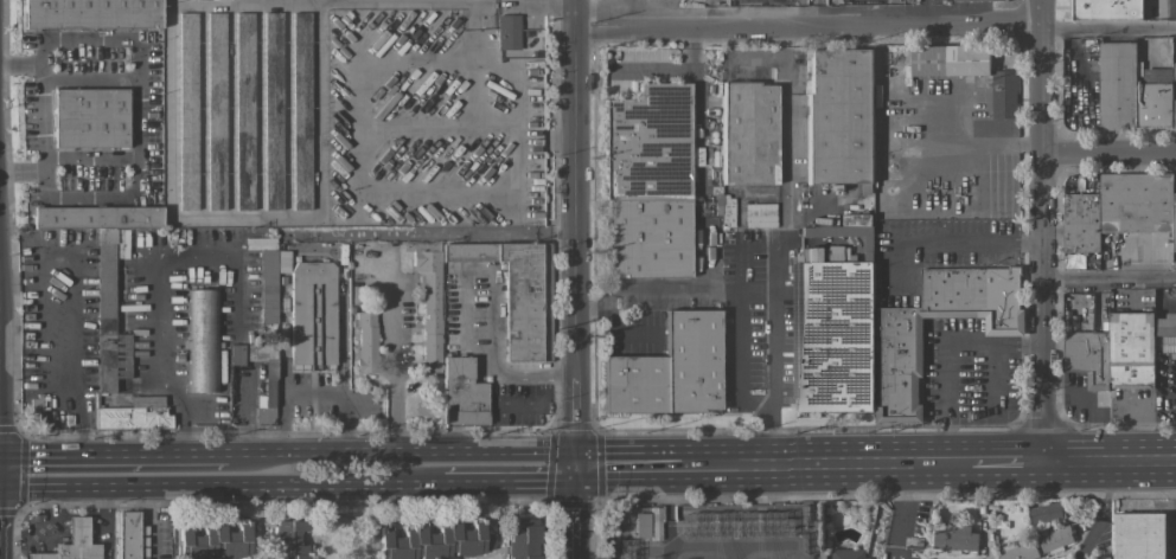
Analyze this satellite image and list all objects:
building: (978, 0)
road: (244, 1)
road: (314, 1)
road: (367, 1)
road: (281, 2)
building: (1105, 9)
building: (91, 14)
road: (807, 23)
road: (1108, 28)
road: (471, 30)
building: (507, 32)
road: (782, 40)
road: (758, 58)
building: (948, 60)
road: (32, 64)
road: (650, 71)
road: (138, 94)
building: (1130, 94)
building: (1003, 95)
road: (702, 103)
building: (300, 109)
building: (216, 110)
building: (273, 110)
building: (187, 111)
building: (244, 111)
building: (89, 117)
building: (839, 117)
building: (747, 133)
road: (983, 142)
road: (1108, 152)
road: (786, 155)
road: (30, 175)
building: (647, 181)
road: (400, 192)
building: (1119, 210)
building: (760, 214)
building: (96, 217)
road: (205, 217)
road: (432, 232)
road: (1041, 232)
road: (575, 233)
road: (983, 240)
road: (755, 249)
road: (1108, 279)
road: (159, 281)
building: (267, 285)
road: (654, 289)
building: (518, 294)
building: (429, 301)
building: (312, 311)
building: (108, 317)
road: (77, 329)
building: (830, 335)
building: (202, 340)
building: (365, 341)
building: (1168, 346)
building: (1131, 351)
building: (236, 354)
building: (897, 356)
building: (1086, 356)
road: (946, 359)
road: (496, 362)
building: (667, 368)
road: (396, 373)
building: (264, 380)
building: (461, 392)
road: (314, 394)
building: (134, 415)
road: (248, 426)
road: (768, 437)
road: (400, 454)
road: (109, 457)
road: (1108, 462)
road: (824, 464)
road: (1005, 464)
road: (626, 465)
traffic signals: (575, 467)
road: (504, 481)
road: (213, 486)
road: (901, 510)
road: (575, 513)
building: (1044, 513)
road: (1102, 513)
road: (104, 522)
building: (641, 525)
road: (37, 526)
power substation: (709, 531)
building: (128, 534)
building: (1138, 535)
building: (290, 539)
building: (523, 539)
building: (954, 539)
building: (1054, 539)
building: (433, 540)
building: (213, 541)
building: (72, 544)
building: (1020, 552)
building: (846, 554)
building: (1062, 557)
building: (1099, 558)

